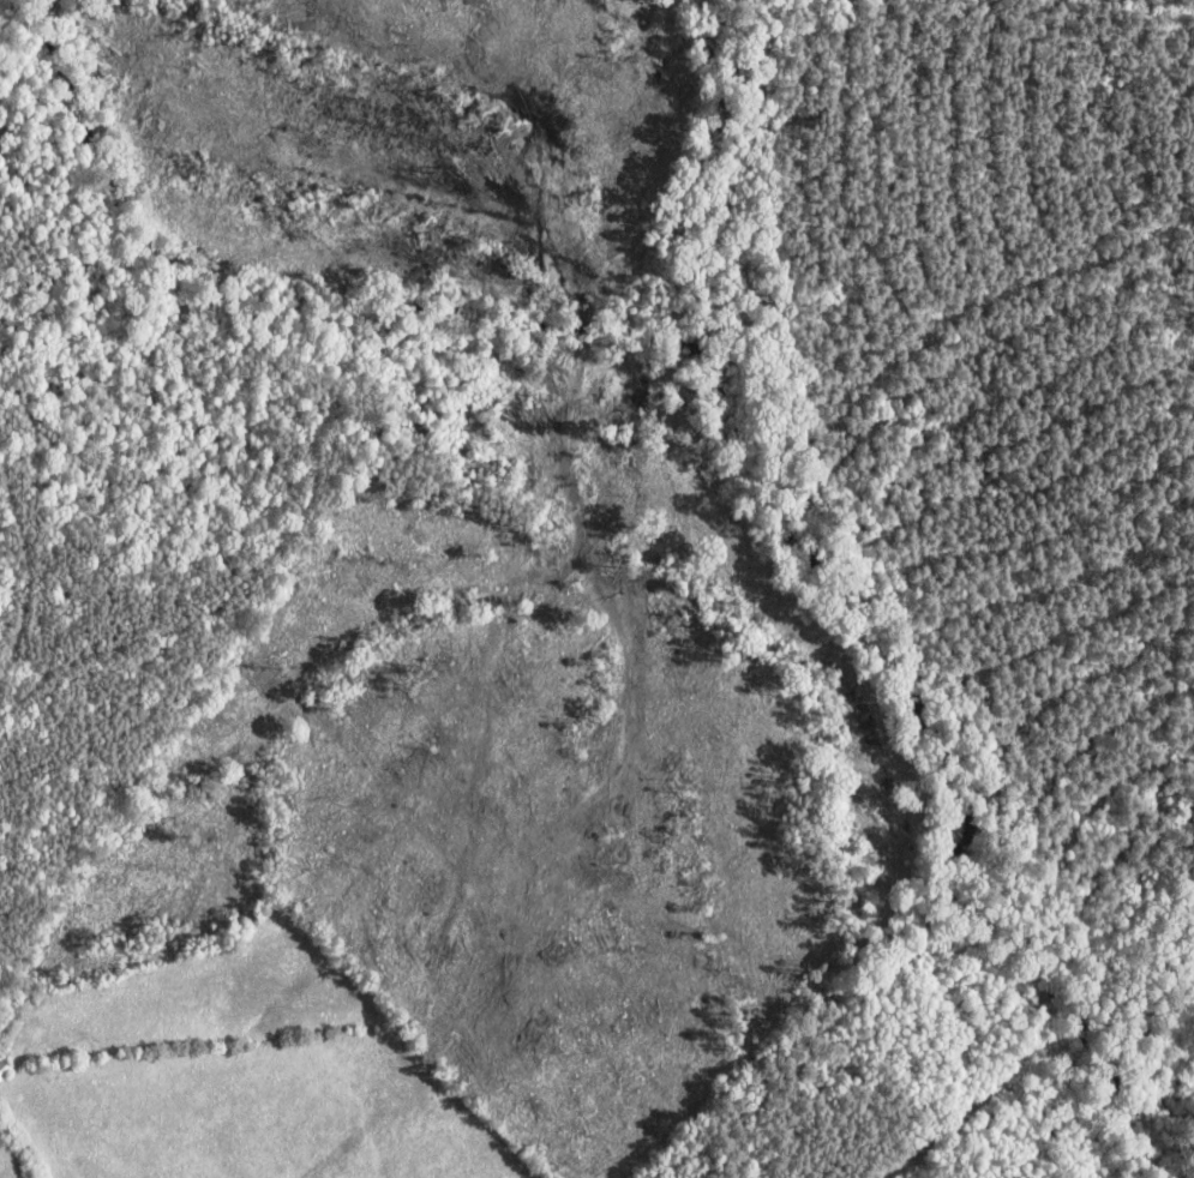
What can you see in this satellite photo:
building: (4, 1070)

